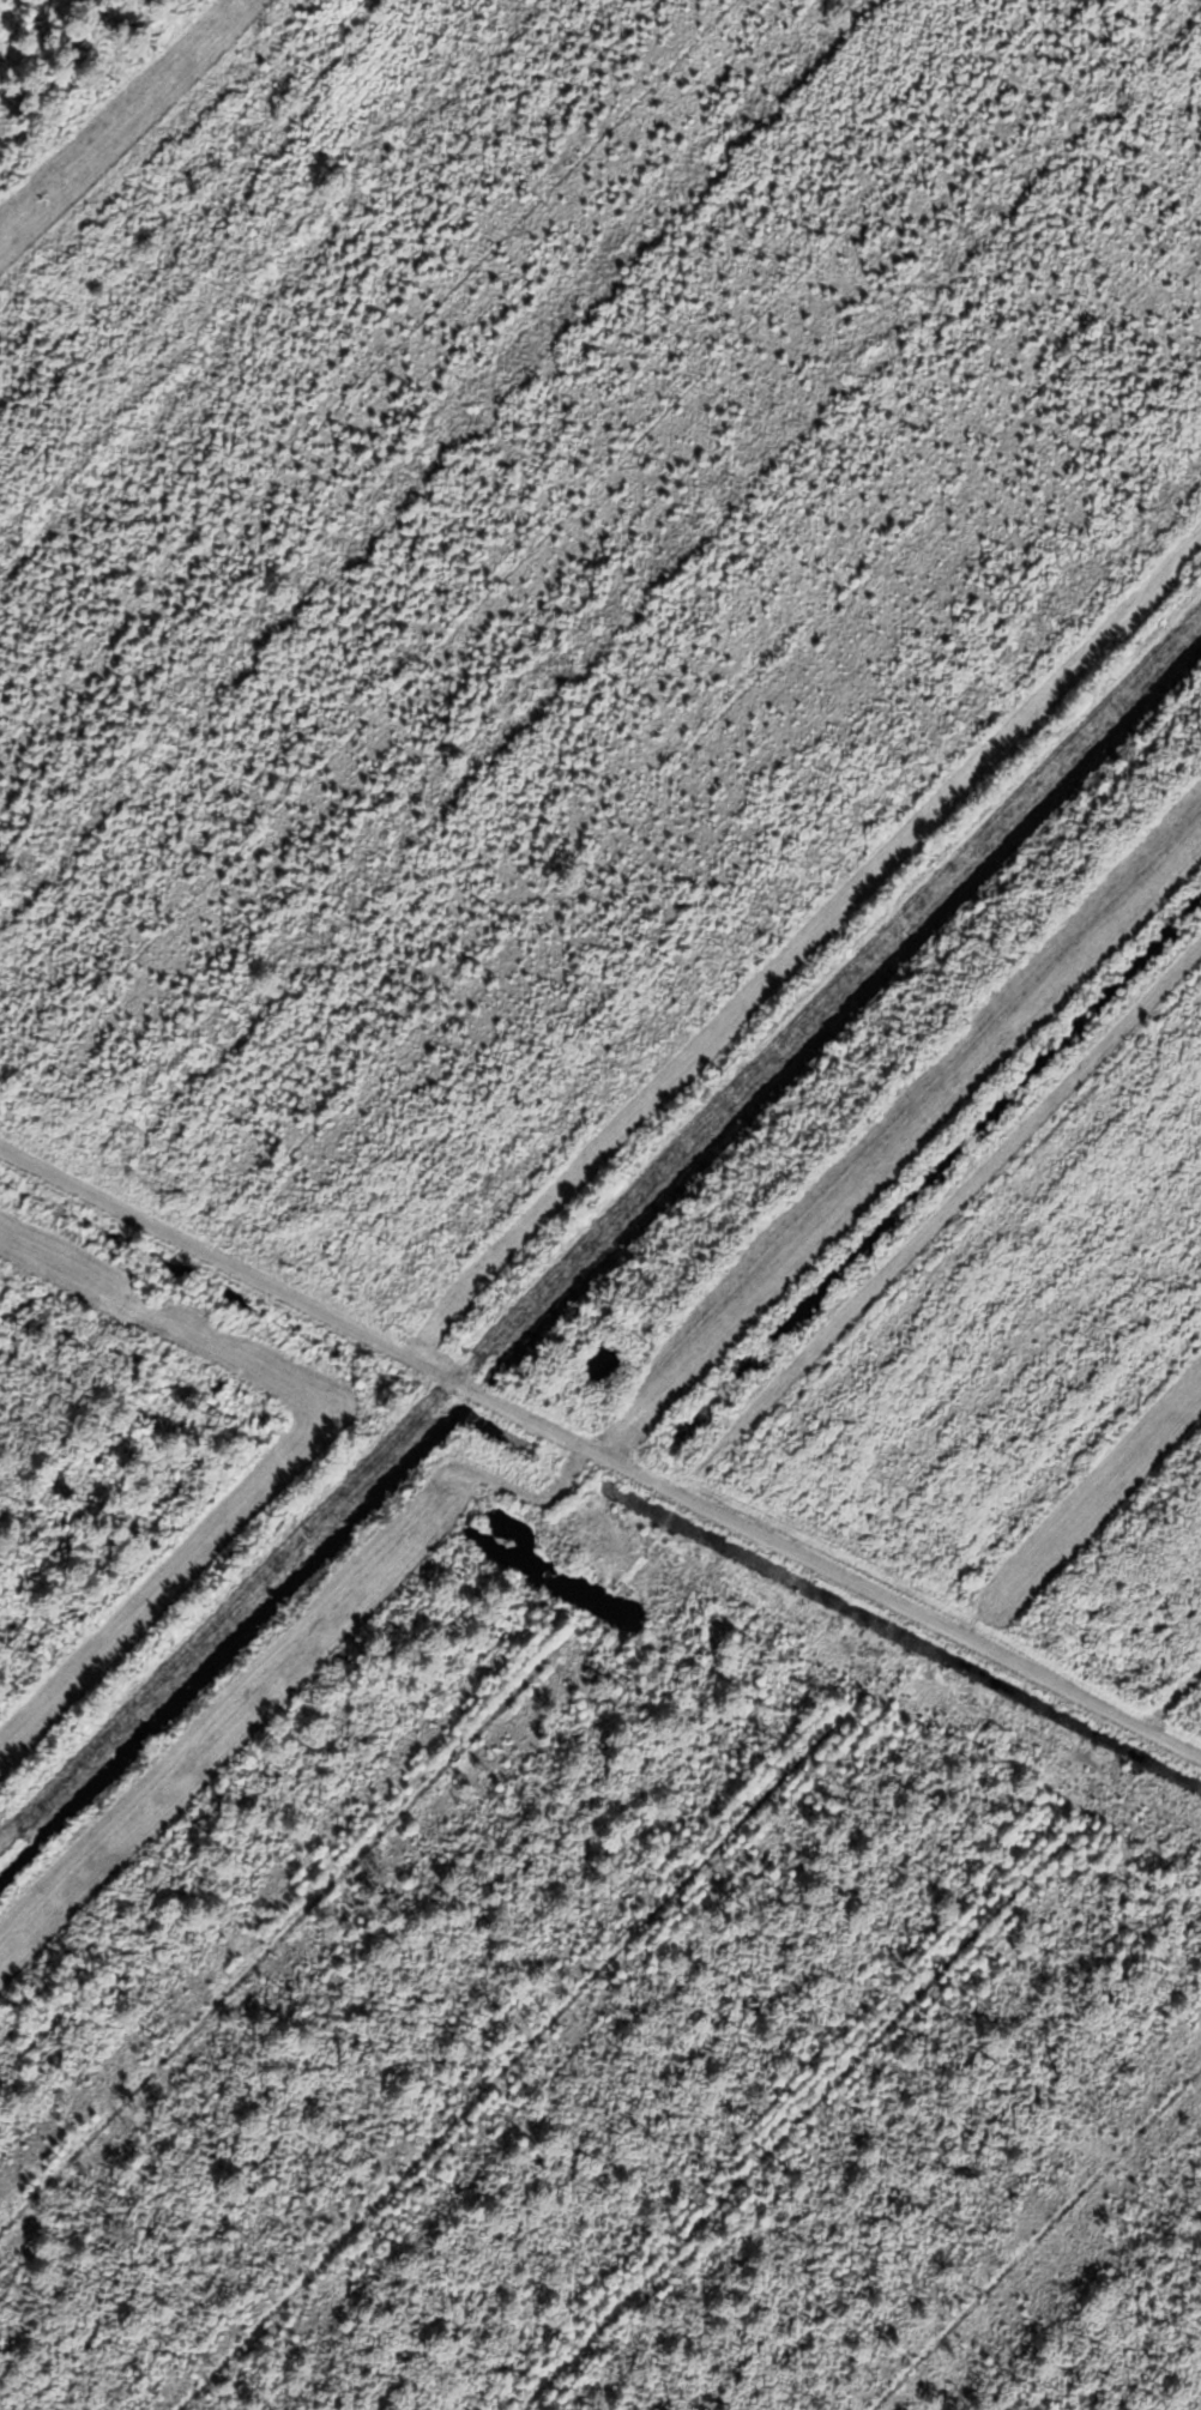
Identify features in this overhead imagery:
road: (599, 1210)
road: (600, 1436)

